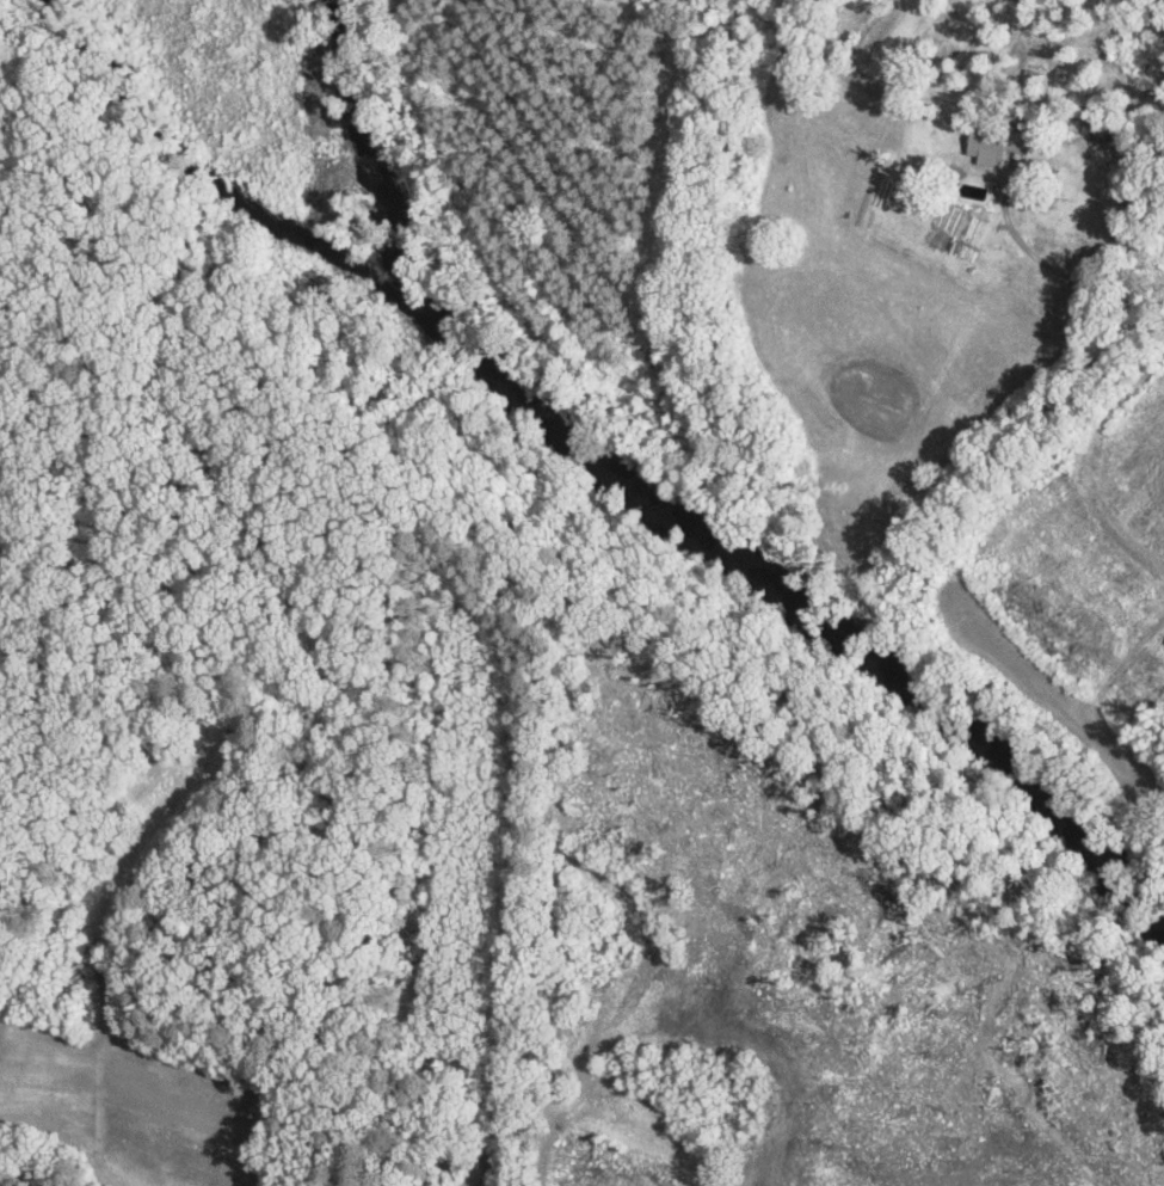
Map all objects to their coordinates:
building: (994, 135)
road: (1072, 269)

